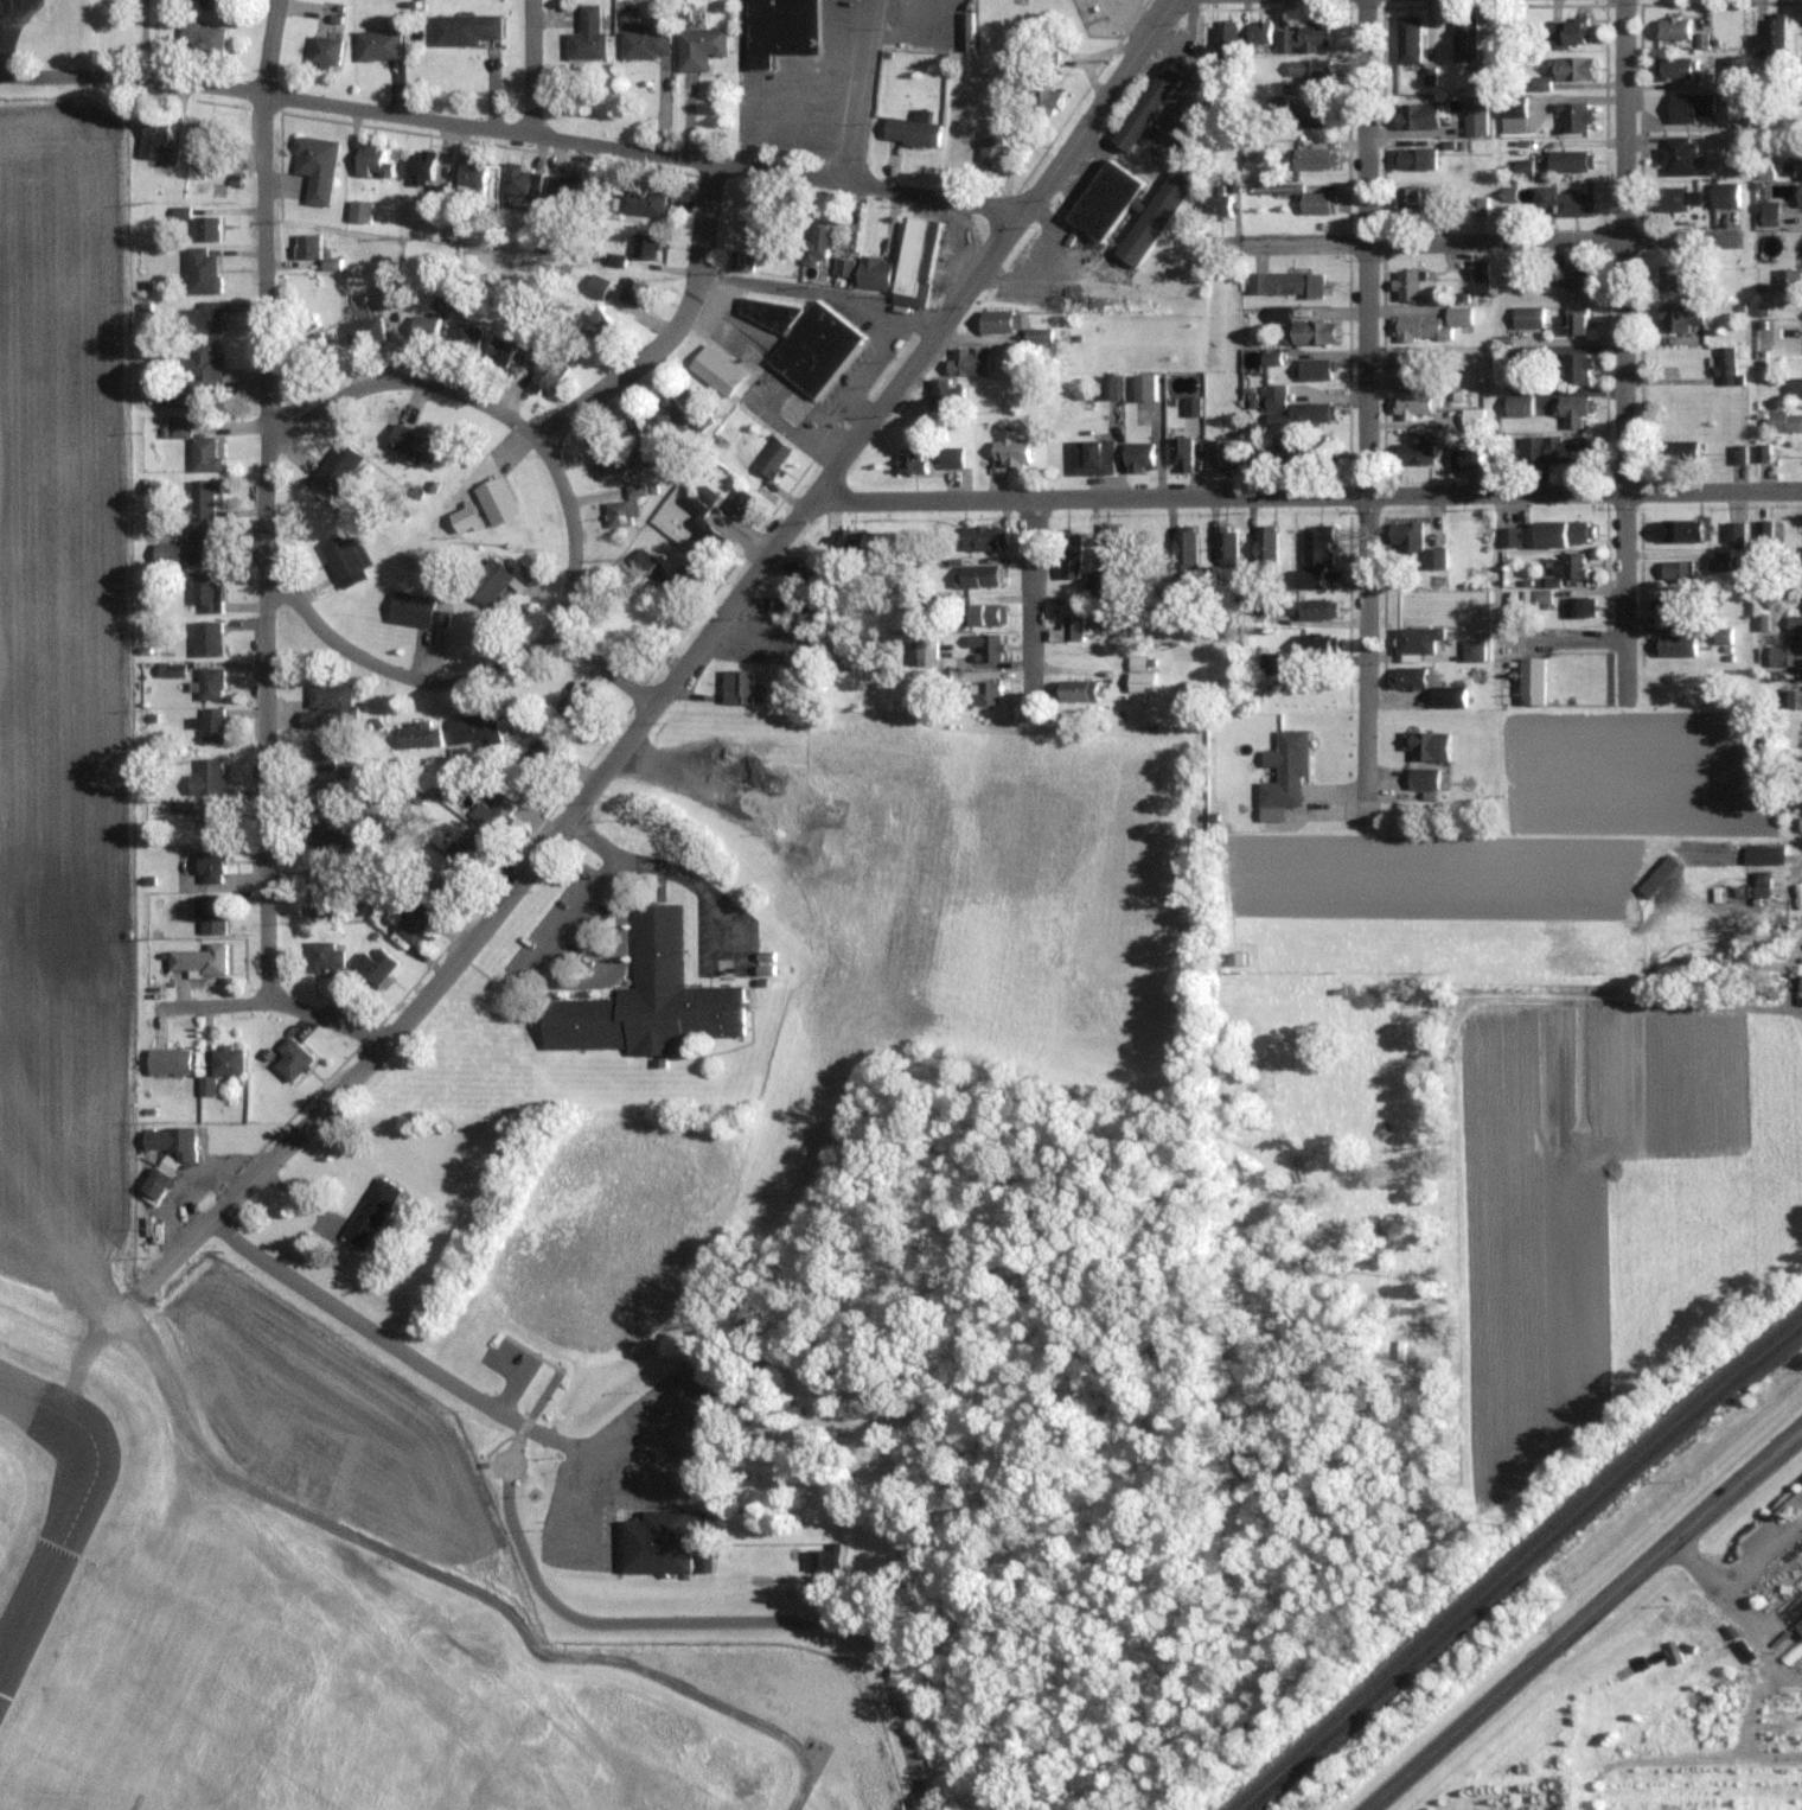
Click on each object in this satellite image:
building: (215, 4)
building: (1673, 27)
building: (464, 28)
building: (780, 30)
building: (1259, 32)
building: (1565, 33)
building: (587, 36)
building: (1305, 36)
building: (1770, 36)
building: (203, 37)
building: (1464, 37)
building: (1408, 38)
building: (1225, 40)
building: (645, 42)
building: (377, 44)
building: (698, 47)
building: (325, 49)
road: (1, 59)
road: (533, 66)
building: (1571, 66)
building: (1674, 68)
building: (1309, 70)
building: (1732, 72)
building: (1480, 76)
road: (864, 90)
road: (1082, 95)
building: (1043, 100)
building: (1512, 104)
building: (1145, 106)
building: (1692, 106)
building: (1475, 114)
building: (1311, 115)
building: (1417, 115)
building: (1574, 115)
road: (427, 119)
building: (910, 132)
building: (1187, 136)
building: (156, 140)
building: (209, 146)
building: (993, 148)
building: (1678, 155)
building: (1315, 157)
building: (1412, 157)
building: (371, 159)
building: (1571, 159)
building: (421, 162)
building: (315, 166)
building: (1522, 166)
building: (471, 176)
building: (519, 185)
building: (562, 189)
building: (1725, 195)
road: (940, 196)
building: (1301, 196)
building: (1800, 196)
building: (1676, 197)
building: (1104, 198)
building: (1219, 199)
building: (1407, 199)
building: (640, 200)
building: (1566, 200)
building: (1478, 204)
building: (1770, 212)
building: (1154, 216)
building: (206, 228)
road: (1465, 240)
building: (646, 244)
building: (818, 244)
building: (306, 246)
road: (1384, 247)
building: (745, 260)
building: (915, 261)
building: (842, 267)
building: (1478, 268)
building: (200, 270)
building: (1700, 272)
building: (874, 273)
building: (1568, 274)
building: (1669, 276)
building: (1789, 278)
building: (1285, 281)
building: (1407, 282)
building: (598, 285)
road: (823, 289)
building: (633, 291)
building: (1278, 313)
building: (1527, 316)
building: (1679, 316)
building: (200, 318)
building: (1576, 319)
building: (999, 320)
building: (596, 323)
building: (1430, 324)
building: (426, 327)
building: (363, 330)
road: (676, 330)
building: (1312, 331)
building: (525, 336)
building: (467, 337)
building: (313, 348)
building: (816, 348)
building: (500, 351)
road: (1627, 352)
building: (747, 357)
building: (1270, 357)
road: (870, 359)
building: (969, 361)
building: (1410, 364)
building: (1726, 365)
building: (1577, 367)
building: (202, 368)
building: (1315, 369)
building: (548, 372)
building: (1143, 387)
building: (1796, 387)
building: (945, 394)
building: (1274, 403)
building: (1412, 403)
building: (1517, 404)
building: (1191, 406)
building: (792, 408)
building: (1574, 408)
road: (1369, 410)
building: (669, 412)
building: (1311, 413)
road: (855, 414)
building: (1471, 418)
building: (1785, 421)
building: (178, 426)
road: (817, 432)
building: (414, 442)
building: (643, 446)
building: (1558, 448)
building: (1675, 450)
building: (1010, 452)
building: (1286, 452)
building: (1412, 452)
building: (1181, 453)
building: (204, 454)
building: (1219, 454)
building: (1319, 454)
building: (602, 455)
building: (1138, 455)
building: (951, 457)
building: (1464, 457)
building: (774, 458)
building: (1091, 458)
building: (912, 460)
road: (1308, 495)
building: (202, 498)
building: (497, 499)
building: (740, 502)
road: (267, 504)
building: (626, 506)
building: (698, 521)
road: (790, 527)
building: (1674, 529)
building: (1563, 531)
building: (1734, 531)
building: (1405, 535)
building: (1509, 535)
building: (984, 537)
building: (848, 540)
building: (1110, 544)
building: (1149, 546)
building: (1317, 546)
building: (1265, 547)
building: (1225, 548)
building: (190, 549)
building: (1184, 550)
building: (345, 555)
road: (575, 555)
building: (1068, 555)
building: (1433, 557)
building: (1719, 561)
building: (1571, 563)
building: (1674, 568)
building: (811, 575)
building: (979, 575)
building: (682, 578)
building: (1309, 579)
building: (497, 580)
building: (1094, 584)
building: (203, 589)
road: (1035, 595)
building: (1076, 603)
building: (1669, 605)
building: (1578, 606)
building: (411, 608)
building: (1308, 608)
building: (798, 610)
building: (983, 614)
building: (441, 618)
building: (1795, 622)
building: (1073, 626)
road: (1497, 626)
building: (1721, 635)
building: (207, 637)
building: (1417, 639)
building: (1316, 644)
building: (1673, 644)
building: (986, 645)
building: (1471, 649)
building: (924, 652)
building: (1782, 655)
building: (1276, 662)
road: (608, 664)
building: (1139, 676)
building: (1408, 676)
building: (1531, 678)
building: (939, 681)
building: (210, 683)
building: (736, 684)
building: (1076, 690)
building: (984, 692)
building: (1445, 694)
building: (1794, 696)
building: (326, 705)
building: (573, 709)
building: (213, 725)
building: (477, 728)
building: (418, 734)
building: (1426, 745)
building: (320, 754)
building: (535, 763)
building: (1286, 770)
building: (206, 776)
building: (1423, 778)
building: (320, 798)
building: (492, 815)
building: (212, 822)
building: (1800, 824)
building: (332, 841)
building: (467, 850)
building: (1763, 854)
building: (210, 866)
road: (667, 866)
building: (1761, 882)
building: (445, 886)
building: (319, 897)
building: (209, 913)
building: (413, 919)
building: (324, 956)
building: (197, 960)
building: (376, 965)
building: (646, 999)
building: (1800, 999)
road: (243, 1002)
road: (358, 1030)
building: (290, 1058)
building: (225, 1059)
building: (168, 1060)
building: (164, 1166)
road: (264, 1166)
building: (370, 1212)
airport: (242, 1298)
road: (395, 1346)
parking lot: (510, 1362)
road: (555, 1369)
airport taxiway: (12, 1381)
road: (524, 1426)
airport taxiway: (75, 1513)
building: (659, 1542)
railway: (1513, 1557)
building: (823, 1560)
railway: (1520, 1563)
road: (285, 1574)
road: (1727, 1591)
road: (1584, 1618)
road: (707, 1620)
building: (1798, 1626)

